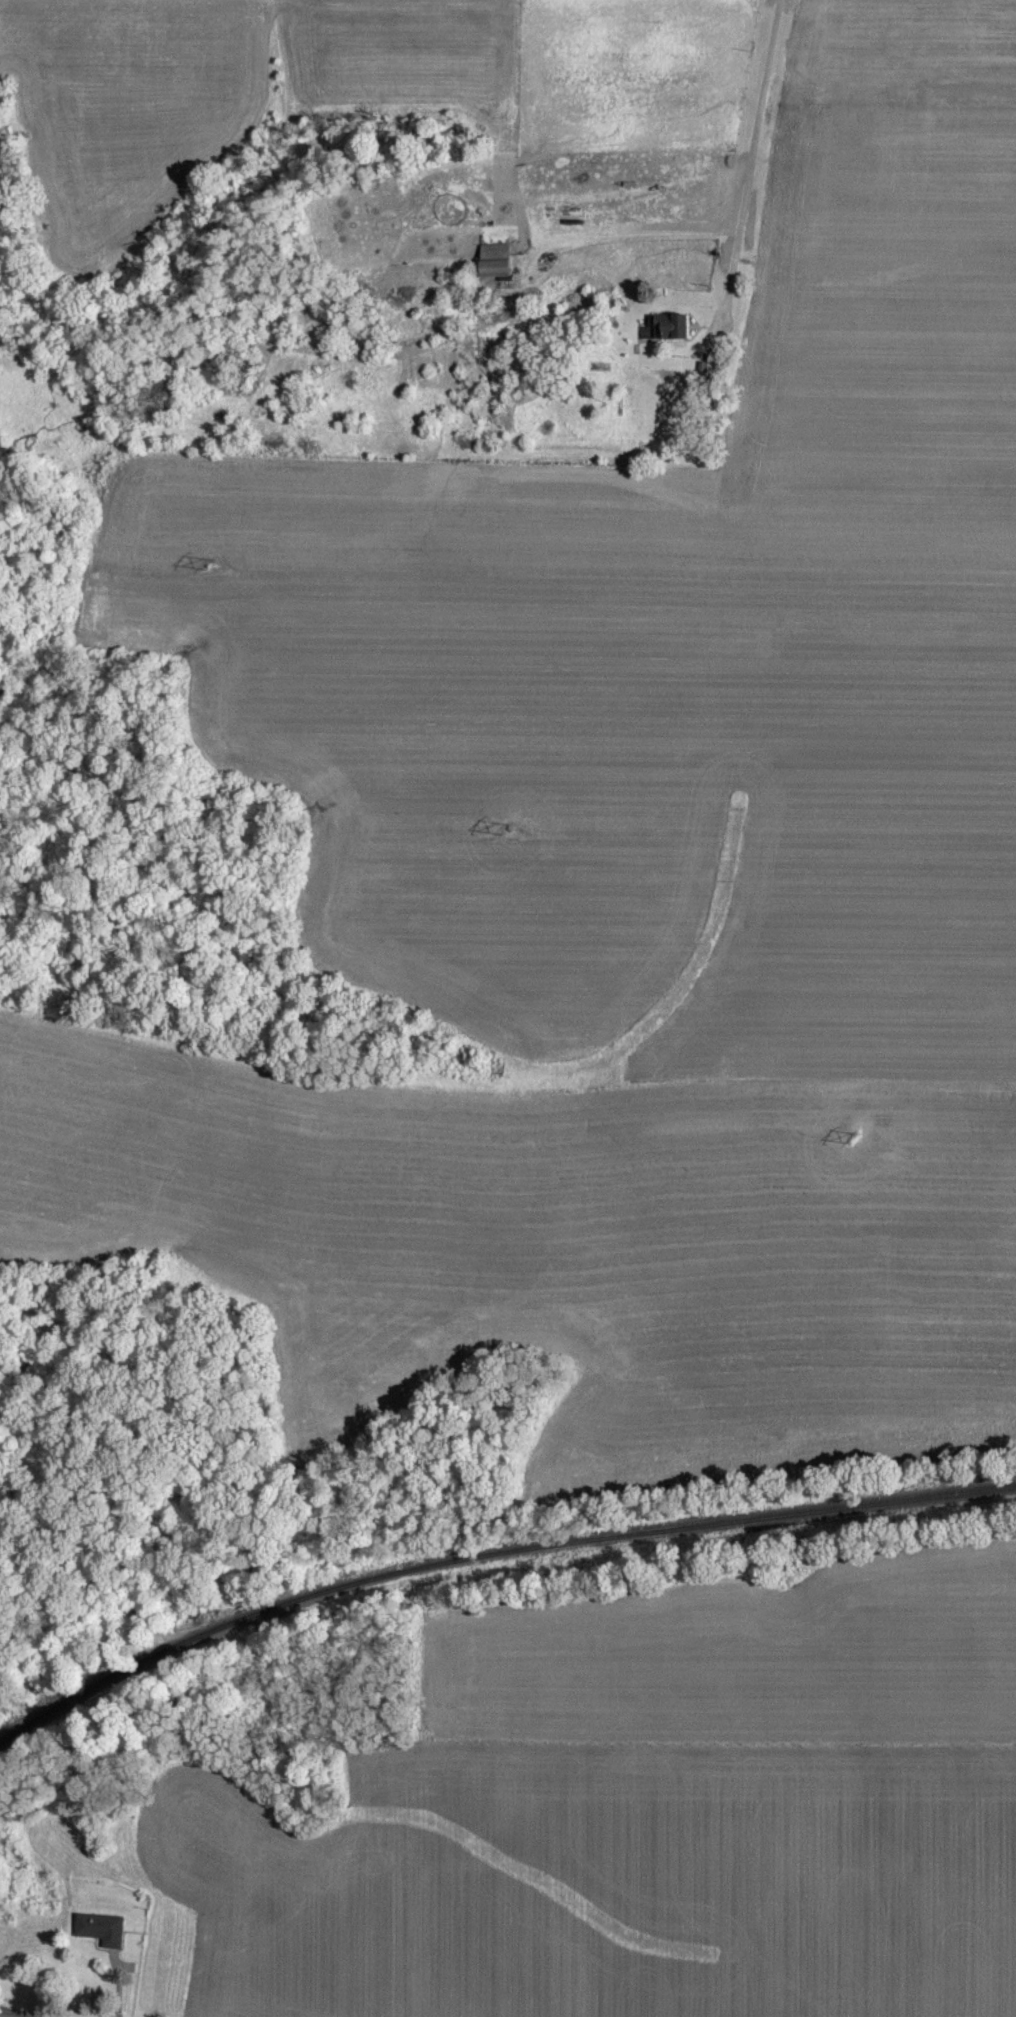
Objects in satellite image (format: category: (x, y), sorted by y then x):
road: (749, 172)
building: (492, 260)
building: (673, 326)
power tower: (859, 1134)
railway: (490, 1552)
building: (99, 1928)
road: (17, 2013)

